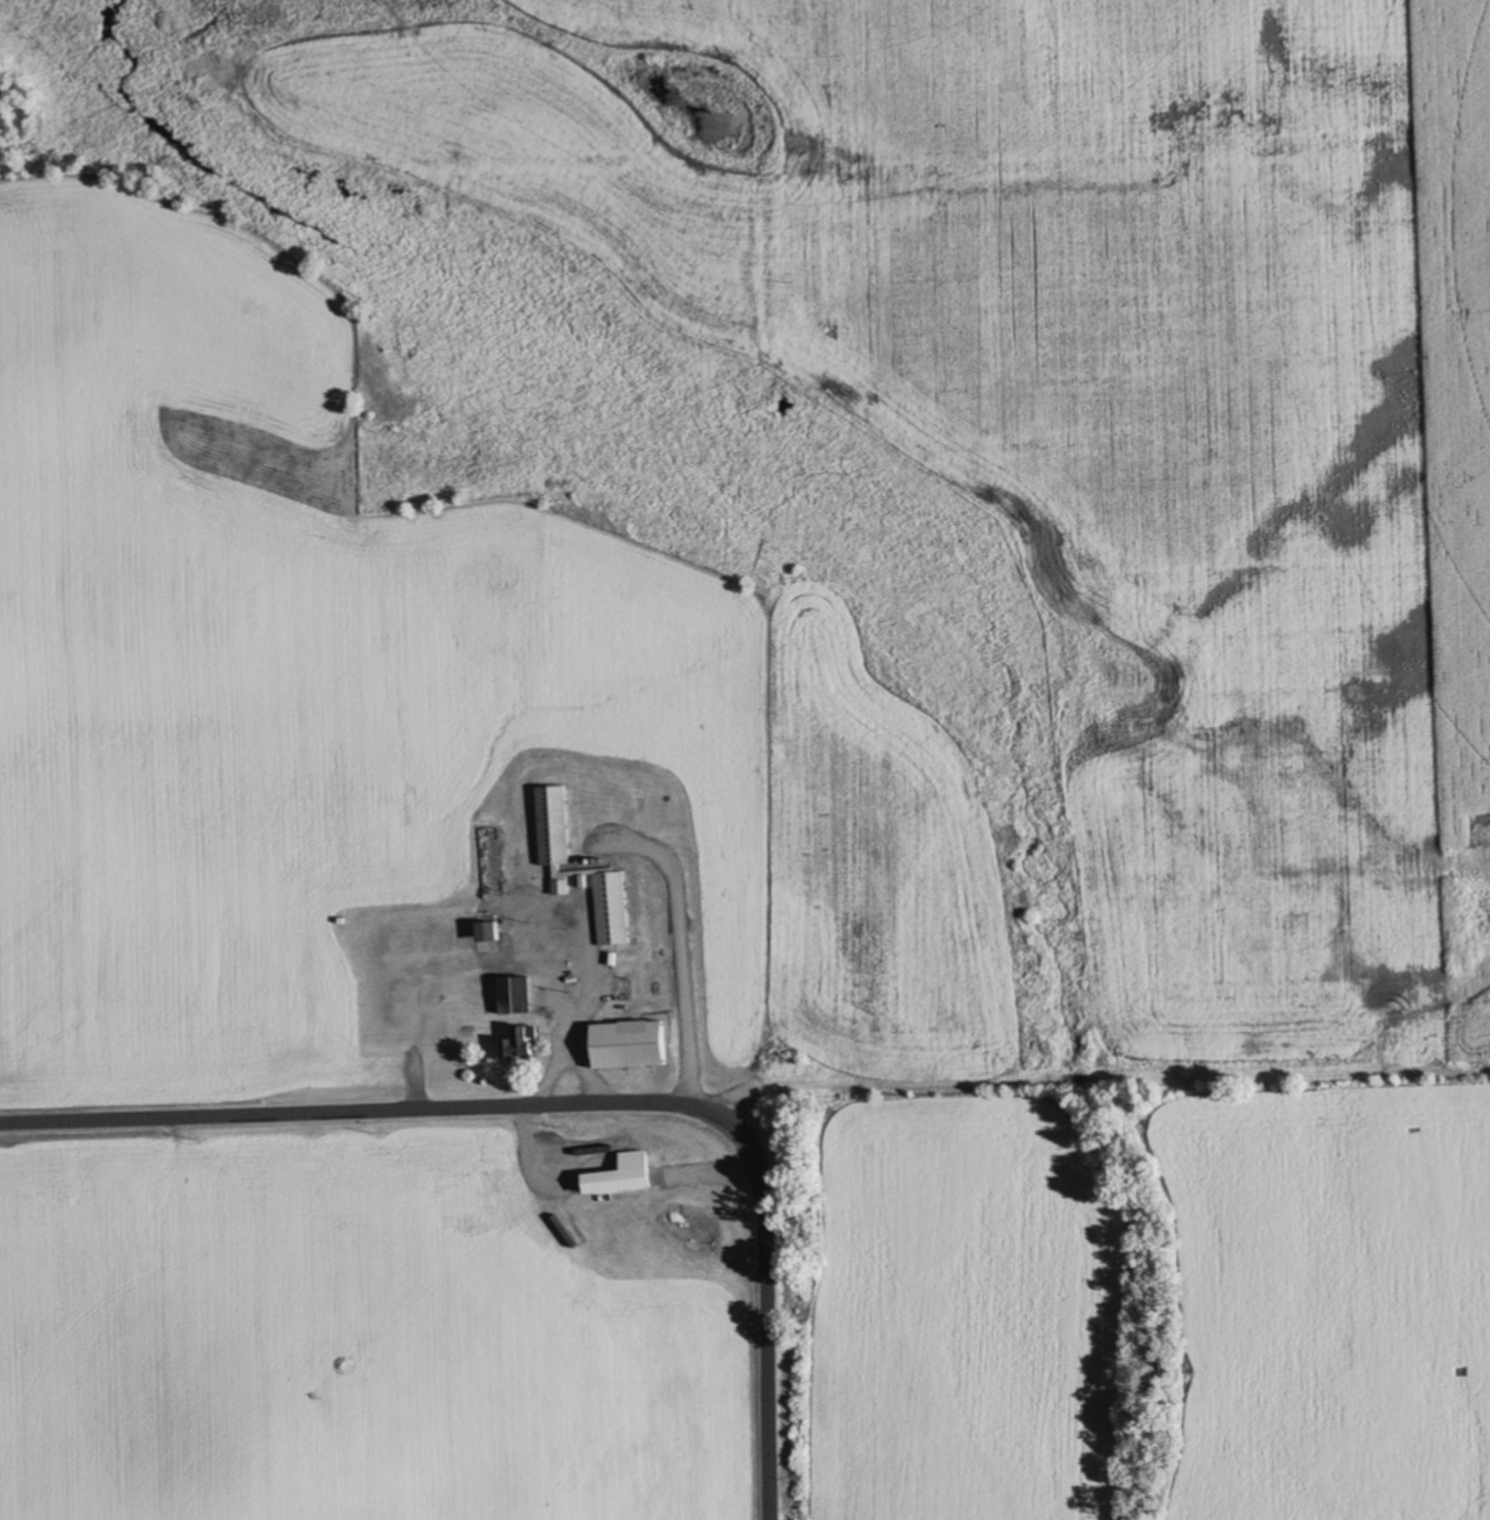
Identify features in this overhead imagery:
crop: (872, 734)
building: (658, 812)
building: (555, 825)
building: (614, 908)
building: (480, 934)
building: (557, 937)
building: (444, 941)
road: (683, 964)
building: (662, 976)
building: (482, 989)
building: (398, 990)
building: (519, 996)
building: (522, 1044)
building: (633, 1045)
road: (350, 1112)
building: (555, 1153)
road: (764, 1301)
crop: (378, 1321)

